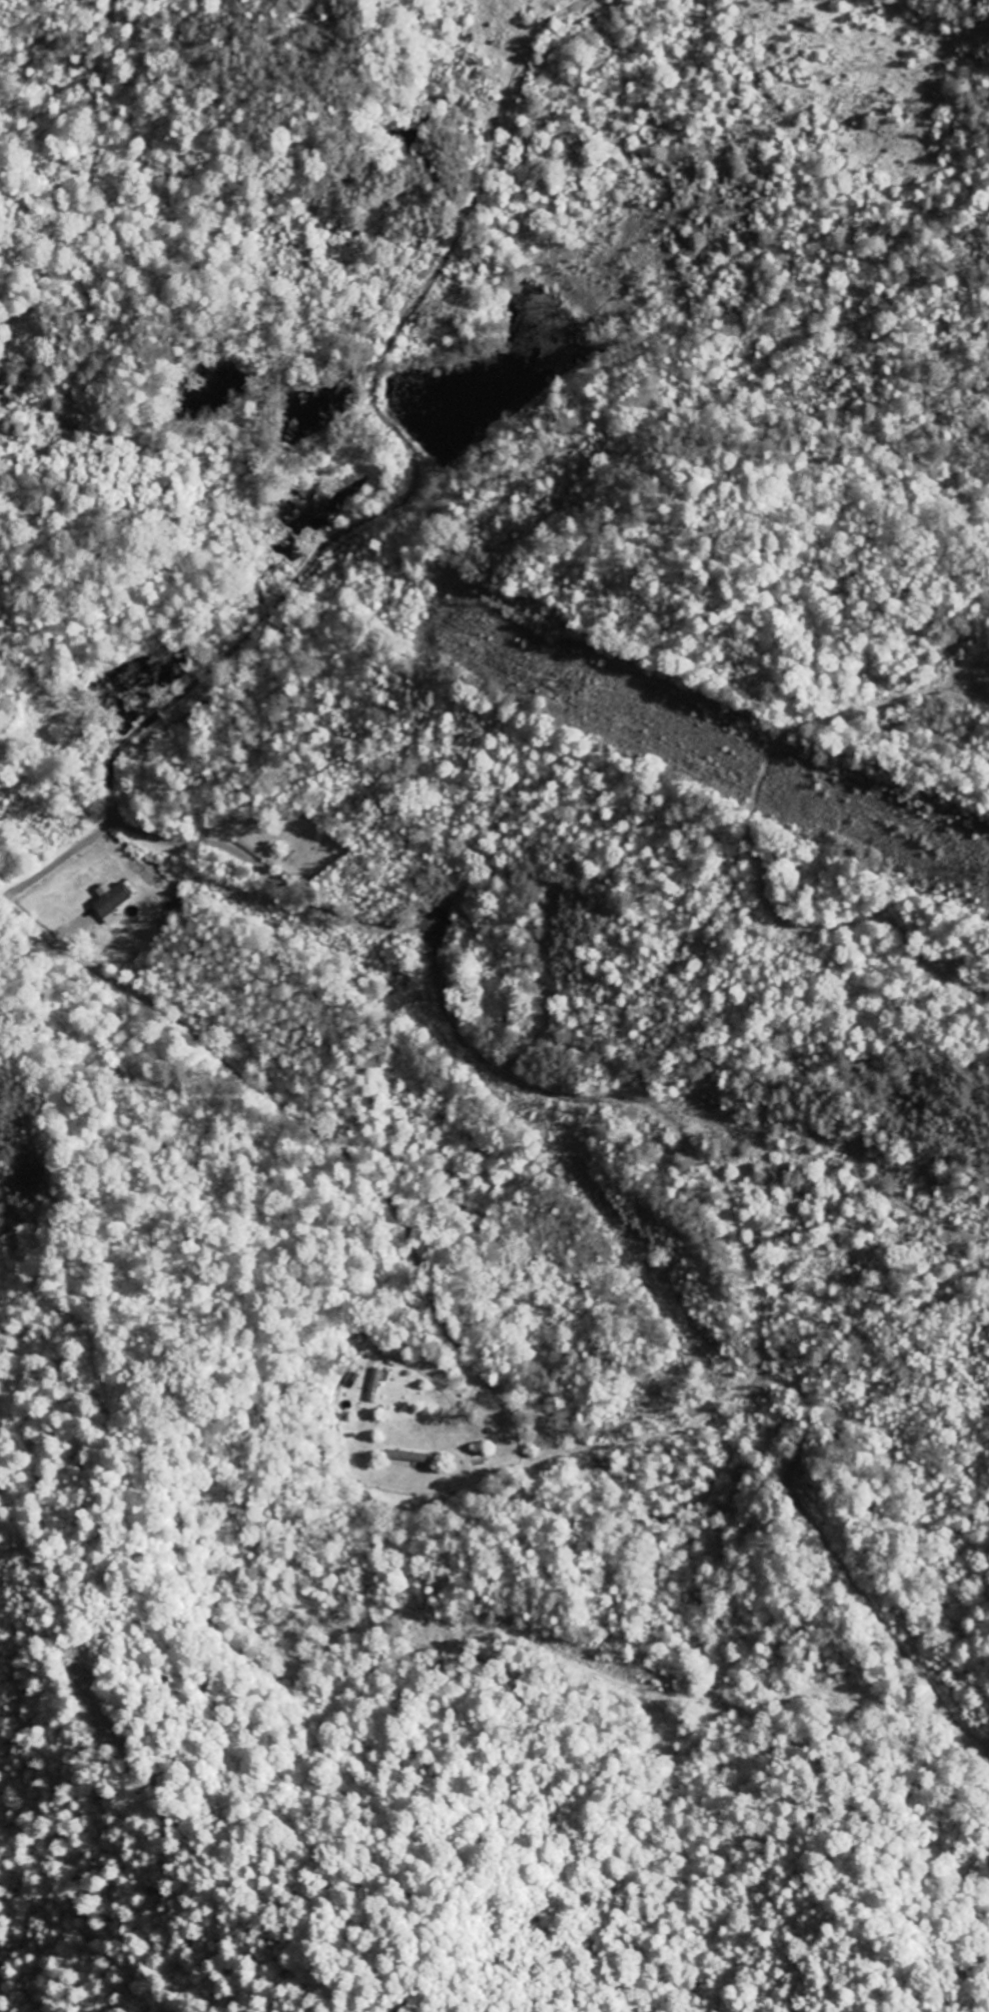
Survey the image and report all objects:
road: (315, 558)
road: (56, 858)
road: (274, 879)
building: (112, 908)
road: (122, 991)

